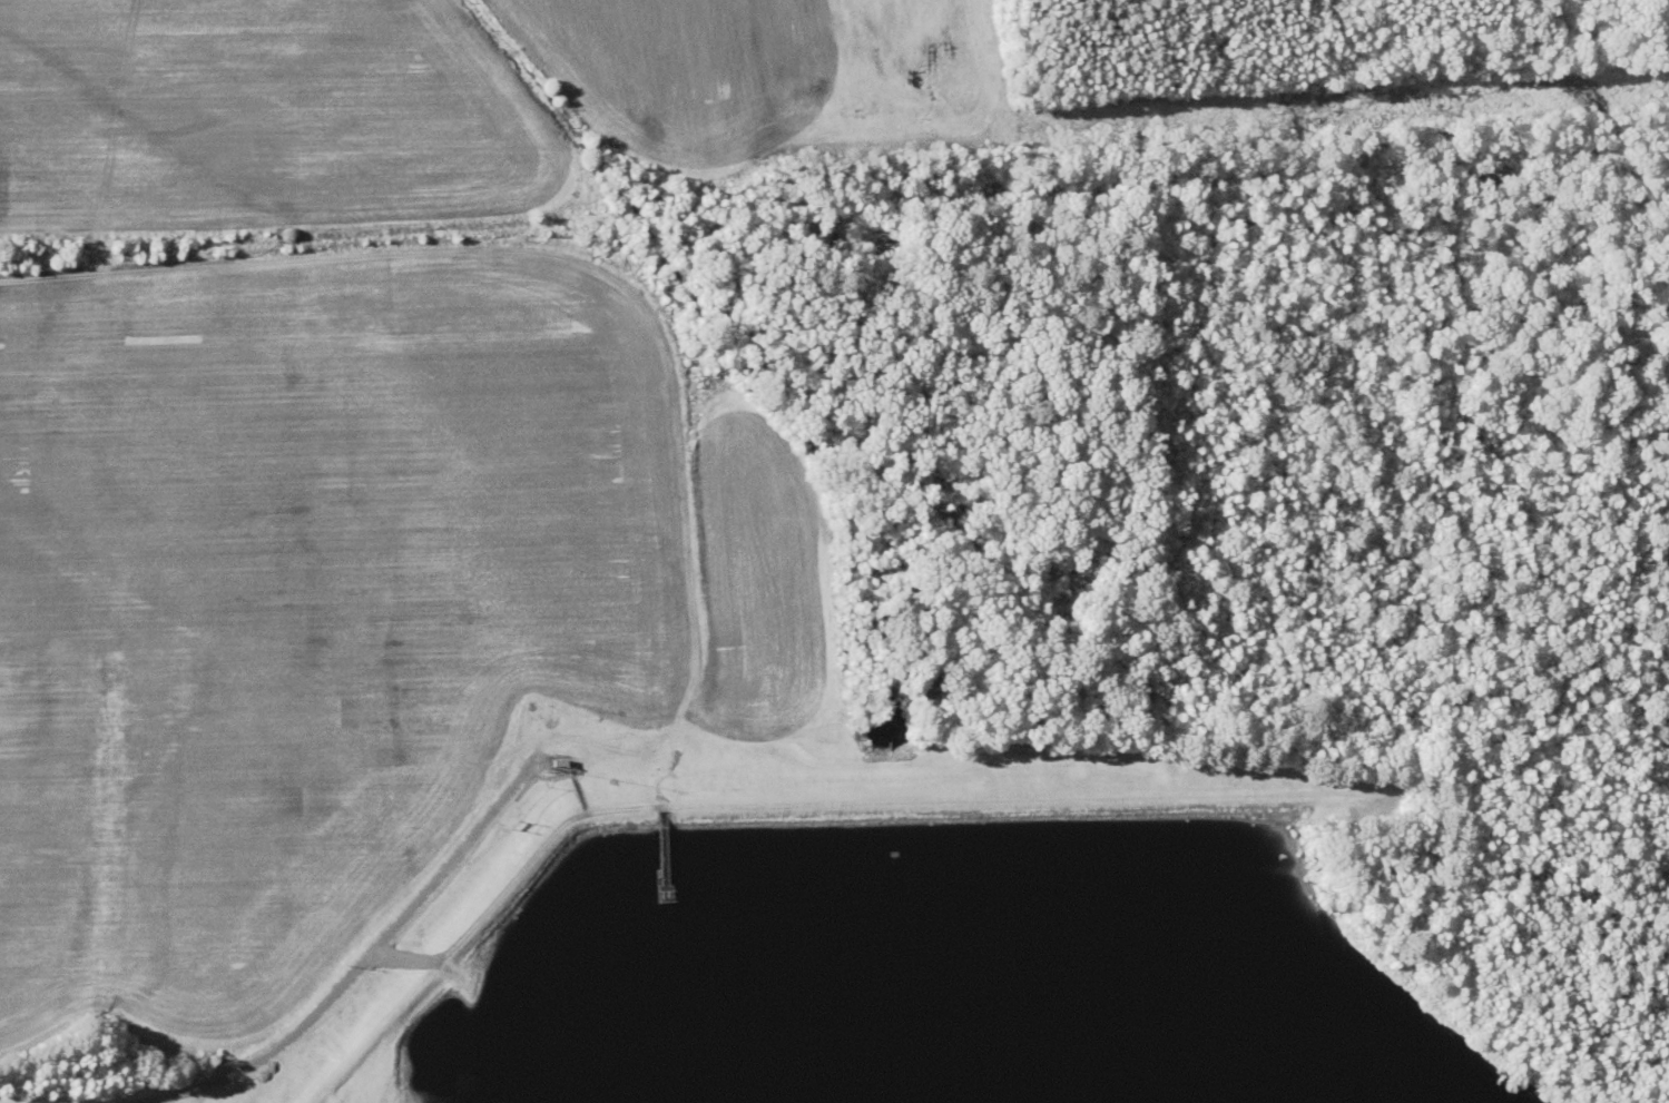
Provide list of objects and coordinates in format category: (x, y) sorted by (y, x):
railway: (834, 198)
road: (36, 336)
building: (554, 762)

